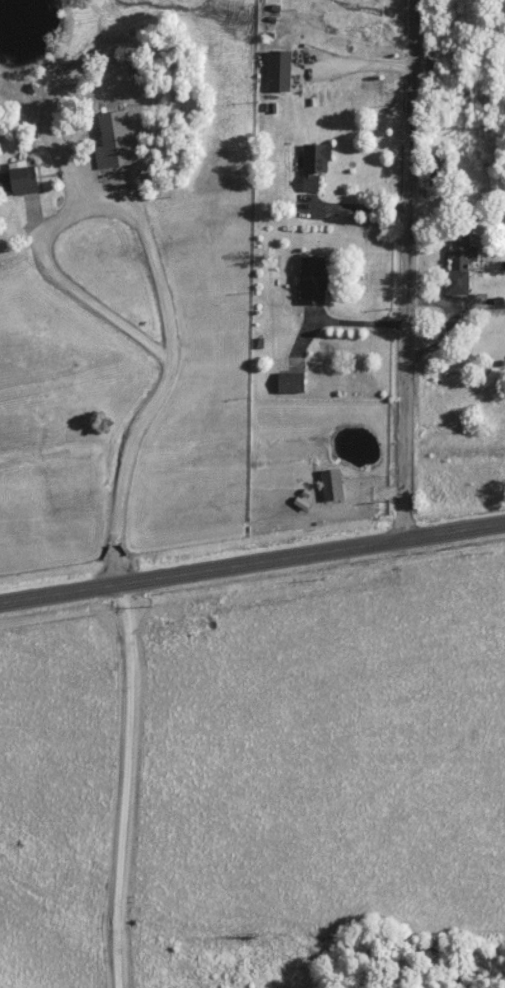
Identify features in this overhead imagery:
road: (355, 68)
building: (275, 71)
building: (108, 140)
building: (436, 163)
building: (311, 165)
building: (15, 178)
road: (353, 206)
road: (154, 254)
building: (456, 264)
road: (412, 269)
building: (308, 280)
road: (337, 321)
building: (287, 383)
building: (328, 485)
road: (252, 561)
road: (128, 784)

